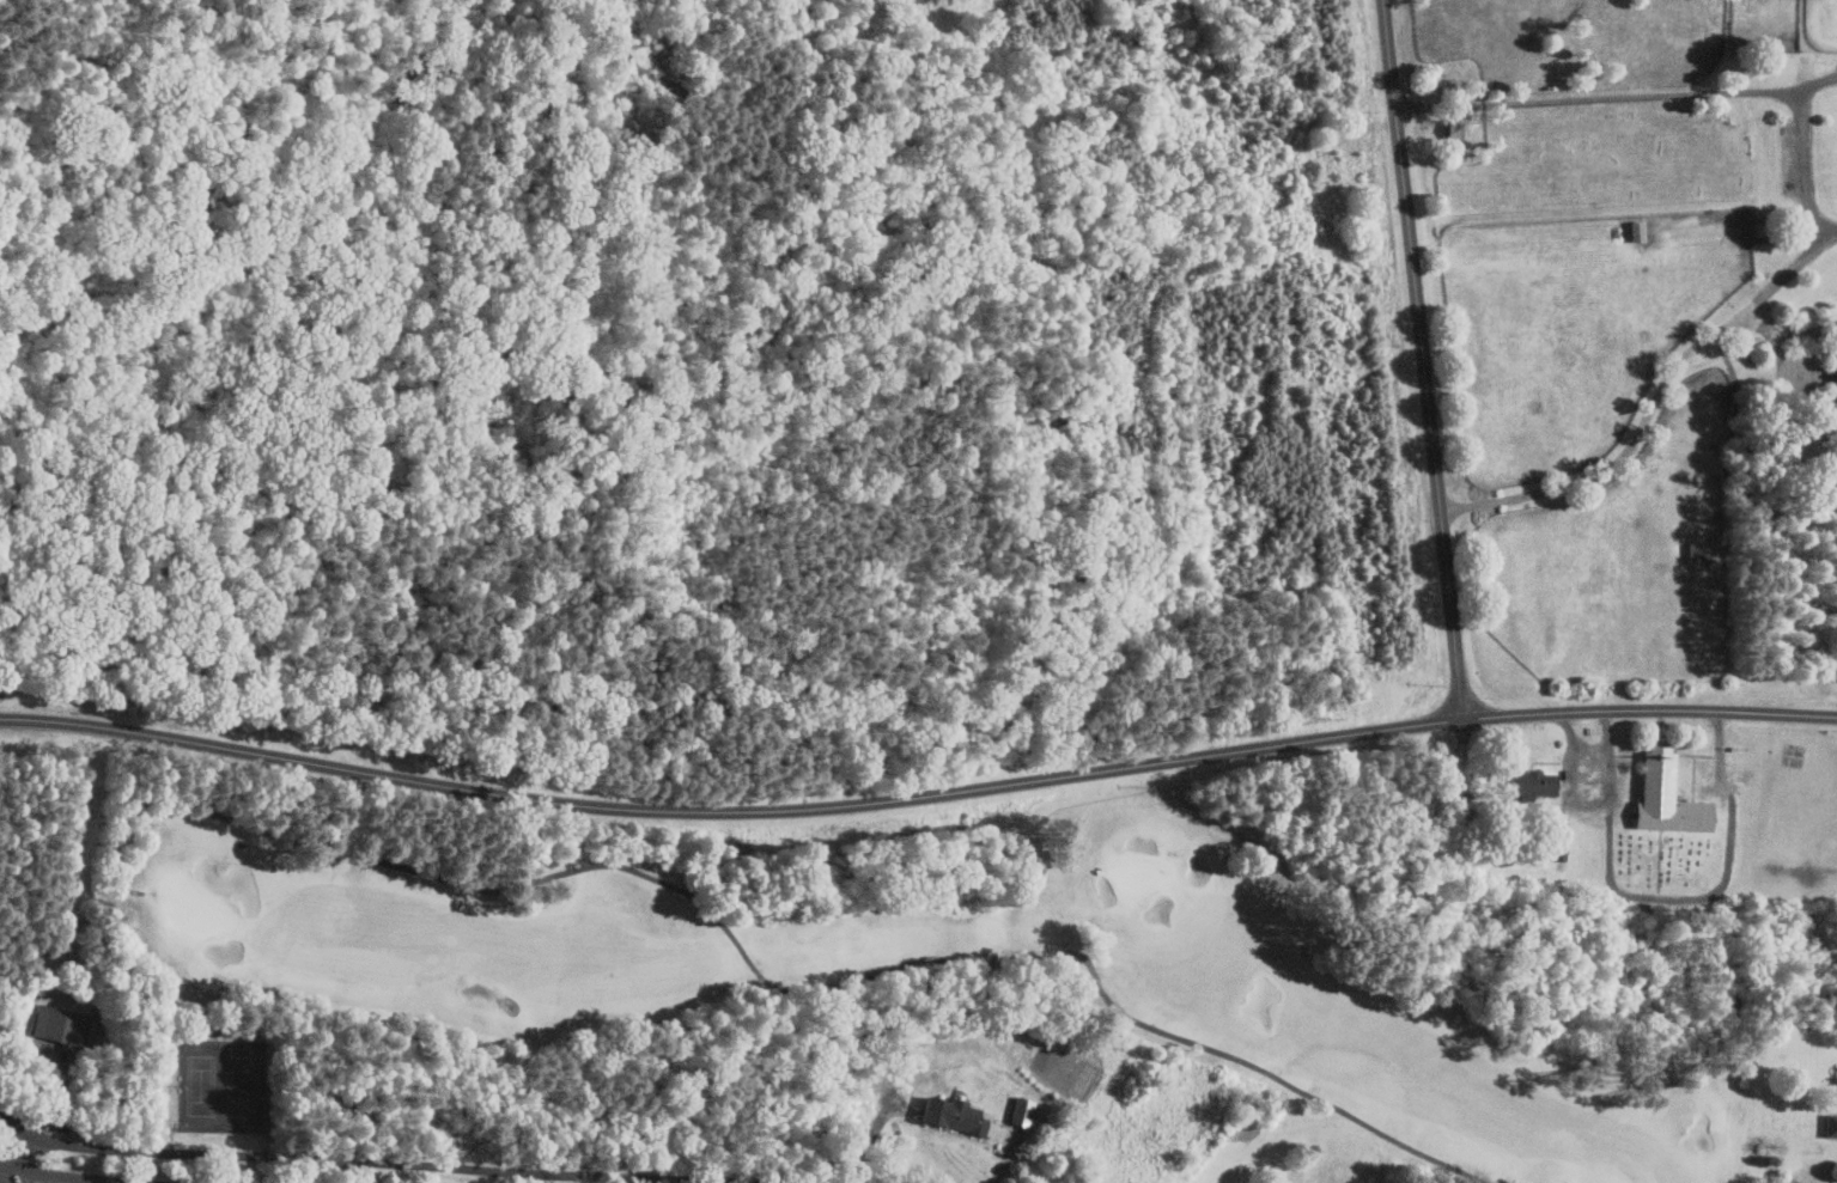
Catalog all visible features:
road: (1814, 209)
road: (1424, 358)
building: (1833, 370)
road: (1811, 388)
building: (1531, 783)
road: (917, 797)
building: (1665, 797)
building: (1558, 843)
park: (1671, 860)
park: (927, 884)
road: (846, 982)
building: (56, 1024)
park: (235, 1092)
building: (1020, 1111)
building: (950, 1115)
building: (1830, 1126)
road: (29, 1151)
road: (1005, 1160)
road: (420, 1163)
road: (10, 1171)
road: (68, 1176)
parking lot: (31, 1181)

